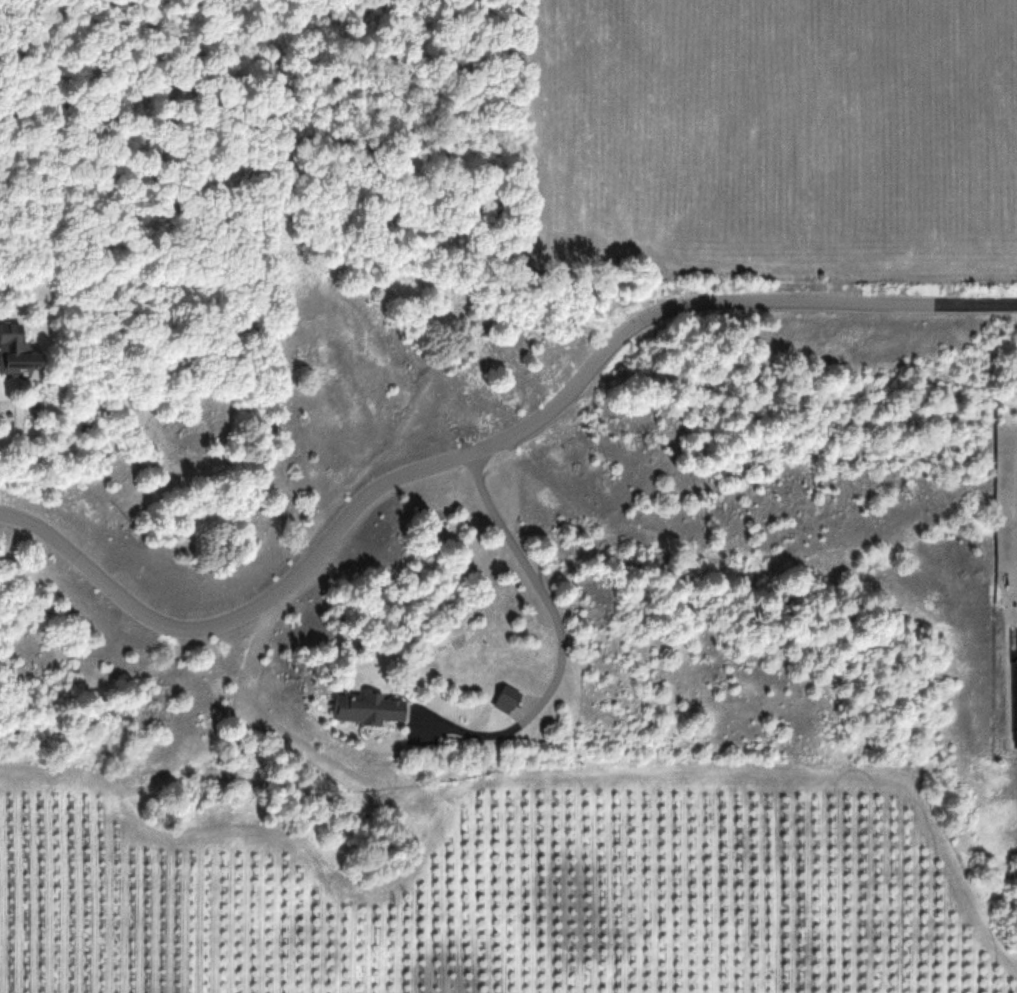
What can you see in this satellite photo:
building: (18, 351)
road: (485, 451)
building: (1010, 694)
building: (370, 708)

